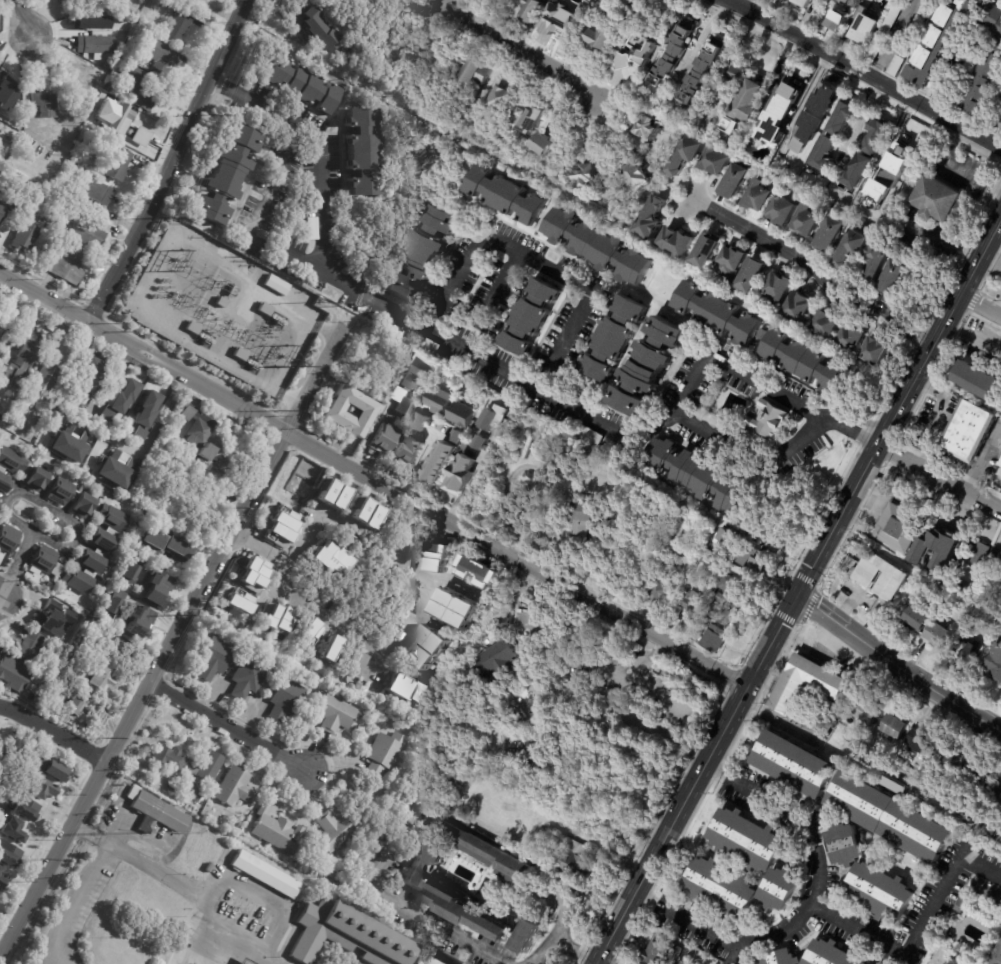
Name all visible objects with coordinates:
building: (785, 0)
building: (844, 0)
building: (848, 0)
building: (62, 1)
building: (818, 1)
building: (820, 1)
building: (838, 1)
road: (440, 2)
building: (805, 2)
building: (641, 5)
building: (532, 10)
building: (96, 14)
road: (20, 16)
building: (892, 18)
building: (840, 20)
building: (634, 21)
building: (561, 22)
building: (179, 24)
building: (865, 25)
building: (315, 26)
building: (0, 27)
building: (142, 27)
building: (919, 27)
building: (605, 36)
road: (894, 37)
building: (122, 44)
building: (95, 45)
building: (650, 48)
building: (875, 49)
building: (676, 55)
building: (161, 56)
building: (932, 56)
road: (534, 57)
building: (627, 61)
building: (142, 63)
building: (898, 65)
building: (107, 66)
building: (474, 70)
building: (704, 72)
building: (735, 73)
building: (80, 74)
road: (871, 74)
building: (303, 84)
building: (6, 87)
building: (139, 87)
building: (108, 88)
building: (94, 94)
building: (505, 95)
building: (751, 100)
building: (46, 104)
road: (258, 108)
building: (780, 112)
building: (113, 115)
road: (862, 115)
power tower: (206, 116)
building: (813, 117)
building: (529, 118)
building: (651, 127)
building: (125, 128)
building: (484, 134)
building: (833, 135)
building: (140, 136)
building: (546, 144)
building: (901, 149)
building: (363, 152)
building: (688, 154)
building: (868, 154)
building: (718, 161)
road: (171, 163)
building: (118, 164)
building: (0, 173)
building: (586, 174)
building: (636, 174)
building: (64, 175)
building: (225, 175)
building: (85, 178)
building: (737, 180)
building: (30, 184)
building: (38, 188)
building: (95, 193)
building: (503, 195)
building: (760, 196)
building: (938, 199)
building: (2, 209)
building: (785, 210)
power tower: (161, 218)
building: (653, 219)
building: (807, 221)
building: (26, 233)
building: (831, 234)
building: (85, 235)
road: (270, 241)
building: (678, 242)
building: (596, 246)
building: (853, 248)
building: (709, 251)
building: (422, 254)
building: (878, 256)
building: (731, 263)
road: (541, 266)
building: (67, 267)
building: (98, 269)
road: (816, 269)
building: (753, 275)
building: (894, 275)
building: (277, 285)
road: (502, 285)
building: (780, 288)
building: (231, 291)
building: (221, 302)
road: (980, 305)
building: (799, 306)
power substation: (223, 308)
building: (265, 310)
building: (717, 314)
building: (529, 317)
building: (825, 324)
building: (192, 328)
building: (762, 334)
building: (3, 335)
building: (850, 338)
building: (613, 339)
building: (873, 352)
road: (143, 353)
building: (240, 355)
building: (802, 360)
building: (23, 362)
building: (649, 367)
road: (317, 374)
building: (413, 378)
building: (448, 378)
building: (979, 380)
building: (85, 382)
building: (41, 384)
building: (123, 396)
building: (437, 400)
road: (556, 400)
building: (400, 402)
building: (334, 412)
building: (145, 414)
building: (460, 414)
building: (490, 418)
building: (768, 420)
building: (41, 421)
building: (420, 427)
building: (970, 432)
building: (454, 436)
building: (590, 436)
building: (201, 437)
building: (382, 439)
building: (477, 442)
building: (571, 445)
building: (67, 447)
building: (526, 448)
building: (406, 450)
road: (748, 451)
building: (623, 455)
building: (11, 461)
building: (437, 461)
building: (554, 463)
building: (27, 470)
building: (1, 471)
building: (458, 475)
building: (698, 476)
road: (939, 476)
building: (35, 480)
building: (48, 482)
building: (3, 485)
building: (60, 492)
building: (332, 495)
building: (73, 497)
building: (82, 506)
building: (95, 509)
building: (165, 511)
building: (364, 513)
building: (112, 518)
building: (152, 518)
building: (592, 521)
road: (77, 526)
building: (281, 527)
road: (310, 528)
building: (899, 528)
road: (411, 529)
building: (112, 533)
building: (725, 537)
building: (8, 539)
building: (102, 541)
road: (260, 545)
building: (164, 546)
building: (939, 551)
building: (101, 553)
building: (977, 555)
building: (994, 558)
building: (330, 559)
building: (438, 559)
building: (755, 559)
building: (43, 560)
road: (517, 560)
building: (90, 562)
building: (57, 571)
building: (129, 572)
building: (476, 572)
building: (253, 573)
building: (90, 574)
building: (879, 577)
road: (435, 578)
building: (78, 582)
building: (160, 585)
building: (730, 585)
road: (798, 590)
building: (660, 591)
road: (0, 595)
traffic signals: (795, 597)
building: (239, 600)
building: (690, 605)
building: (110, 607)
building: (454, 610)
road: (819, 610)
building: (141, 612)
building: (50, 616)
building: (722, 616)
building: (276, 617)
building: (915, 618)
building: (310, 632)
road: (360, 633)
building: (940, 636)
building: (492, 638)
building: (712, 639)
building: (123, 646)
building: (30, 647)
building: (427, 648)
building: (331, 649)
building: (970, 653)
building: (212, 660)
building: (994, 664)
building: (359, 666)
building: (498, 666)
building: (13, 674)
building: (102, 679)
building: (246, 679)
road: (919, 682)
building: (410, 689)
building: (788, 690)
road: (141, 695)
building: (35, 698)
building: (284, 701)
building: (76, 705)
building: (47, 708)
building: (867, 711)
building: (335, 715)
building: (896, 725)
road: (227, 727)
road: (53, 732)
building: (924, 746)
building: (384, 756)
building: (947, 756)
building: (794, 763)
building: (177, 764)
building: (51, 771)
building: (235, 787)
building: (41, 789)
building: (195, 793)
building: (996, 794)
building: (26, 812)
building: (156, 812)
building: (948, 813)
building: (890, 817)
road: (86, 830)
road: (117, 830)
building: (277, 830)
building: (336, 830)
building: (13, 831)
road: (579, 834)
road: (135, 836)
building: (751, 839)
building: (846, 844)
building: (484, 849)
building: (9, 856)
building: (570, 856)
building: (422, 864)
building: (208, 868)
building: (0, 872)
building: (265, 873)
building: (336, 875)
building: (3, 882)
building: (722, 886)
building: (783, 888)
building: (880, 891)
road: (195, 894)
road: (263, 897)
road: (397, 901)
road: (75, 904)
building: (963, 904)
road: (808, 906)
building: (465, 913)
road: (917, 931)
road: (550, 932)
building: (349, 935)
building: (527, 936)
road: (203, 938)
road: (572, 949)
building: (653, 953)
building: (832, 954)
building: (997, 957)
building: (780, 958)
road: (900, 960)
building: (438, 961)
building: (244, 962)
road: (595, 963)

